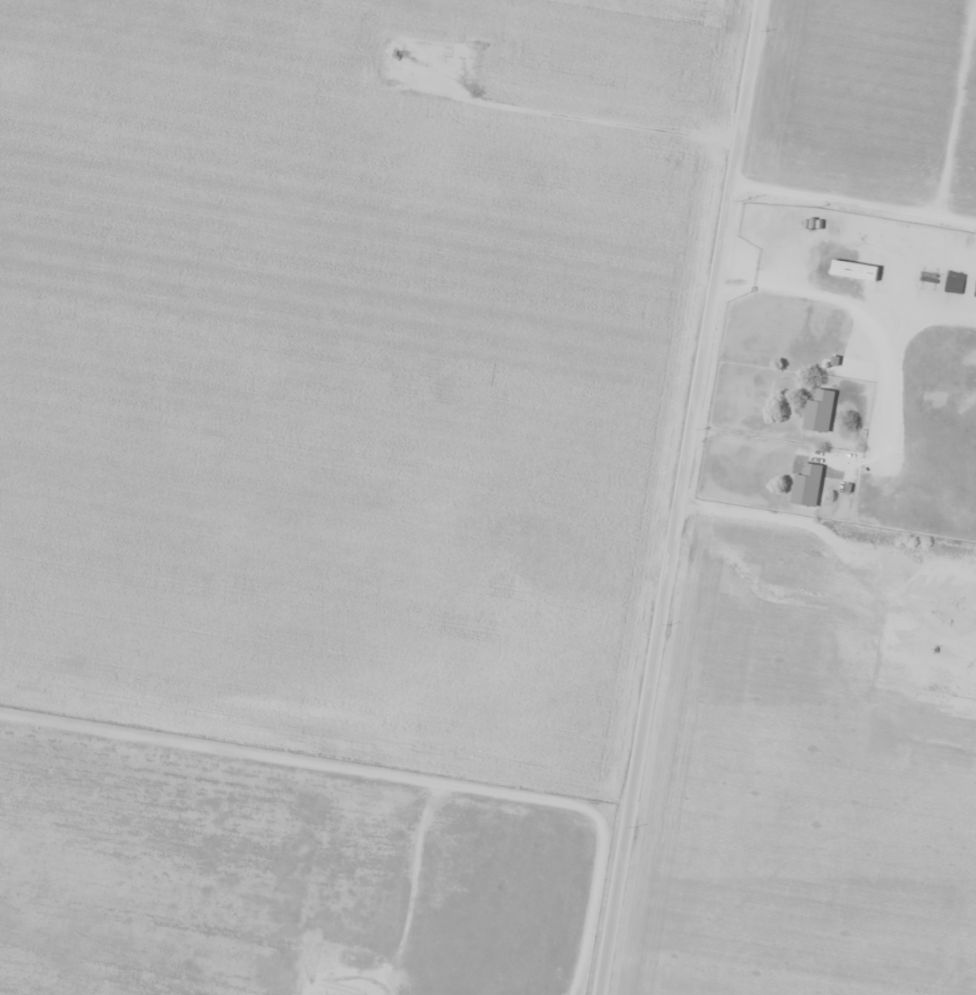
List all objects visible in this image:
road: (845, 205)
building: (855, 271)
building: (819, 411)
building: (807, 485)
road: (665, 497)
road: (308, 762)

